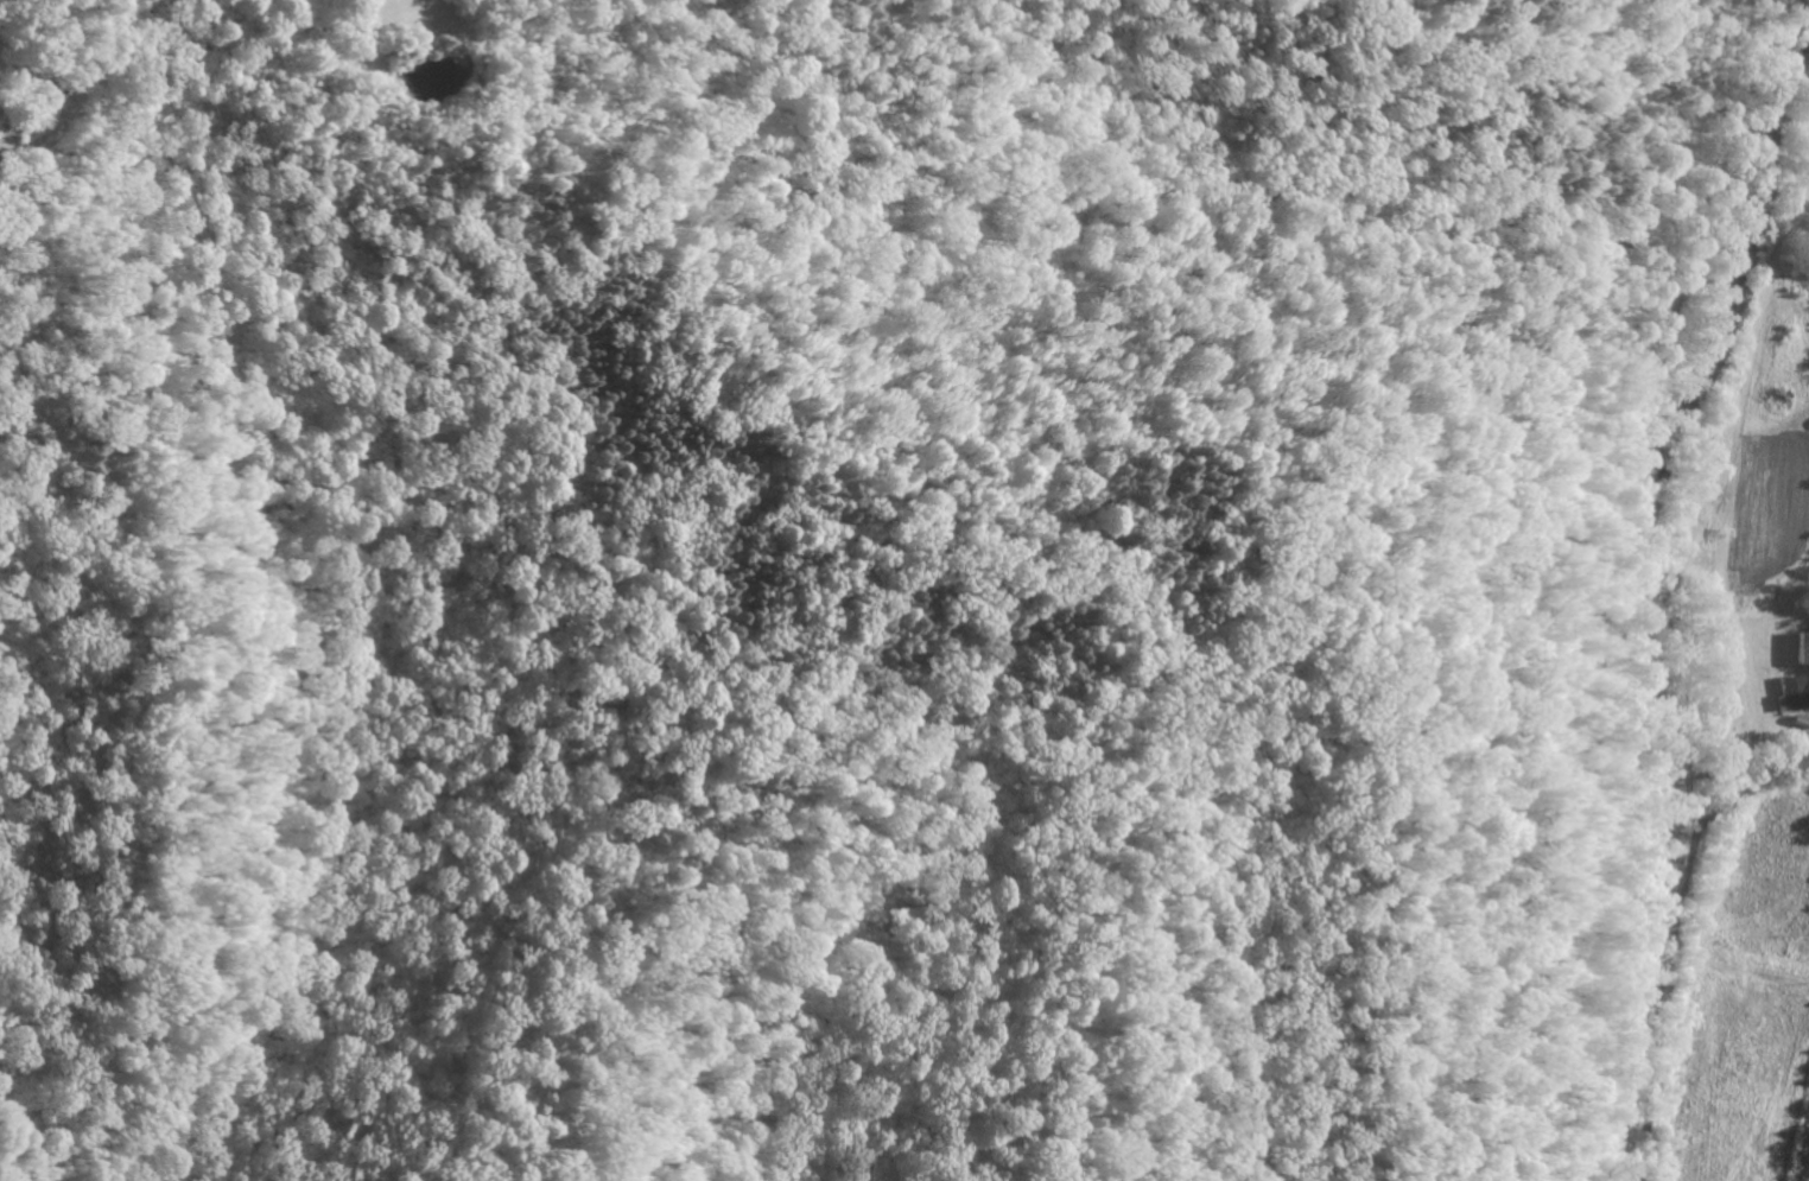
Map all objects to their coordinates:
building: (1801, 648)
road: (1658, 996)

